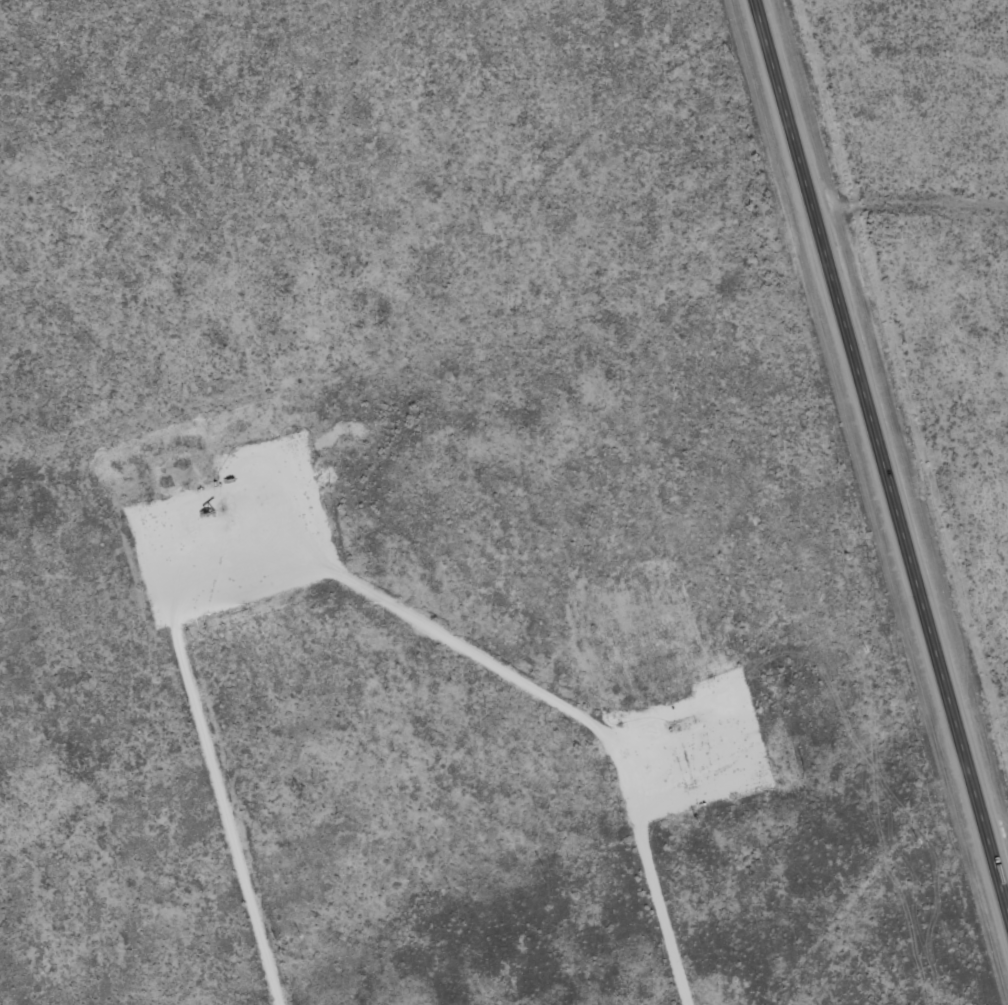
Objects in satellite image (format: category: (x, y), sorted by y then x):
road: (884, 449)

